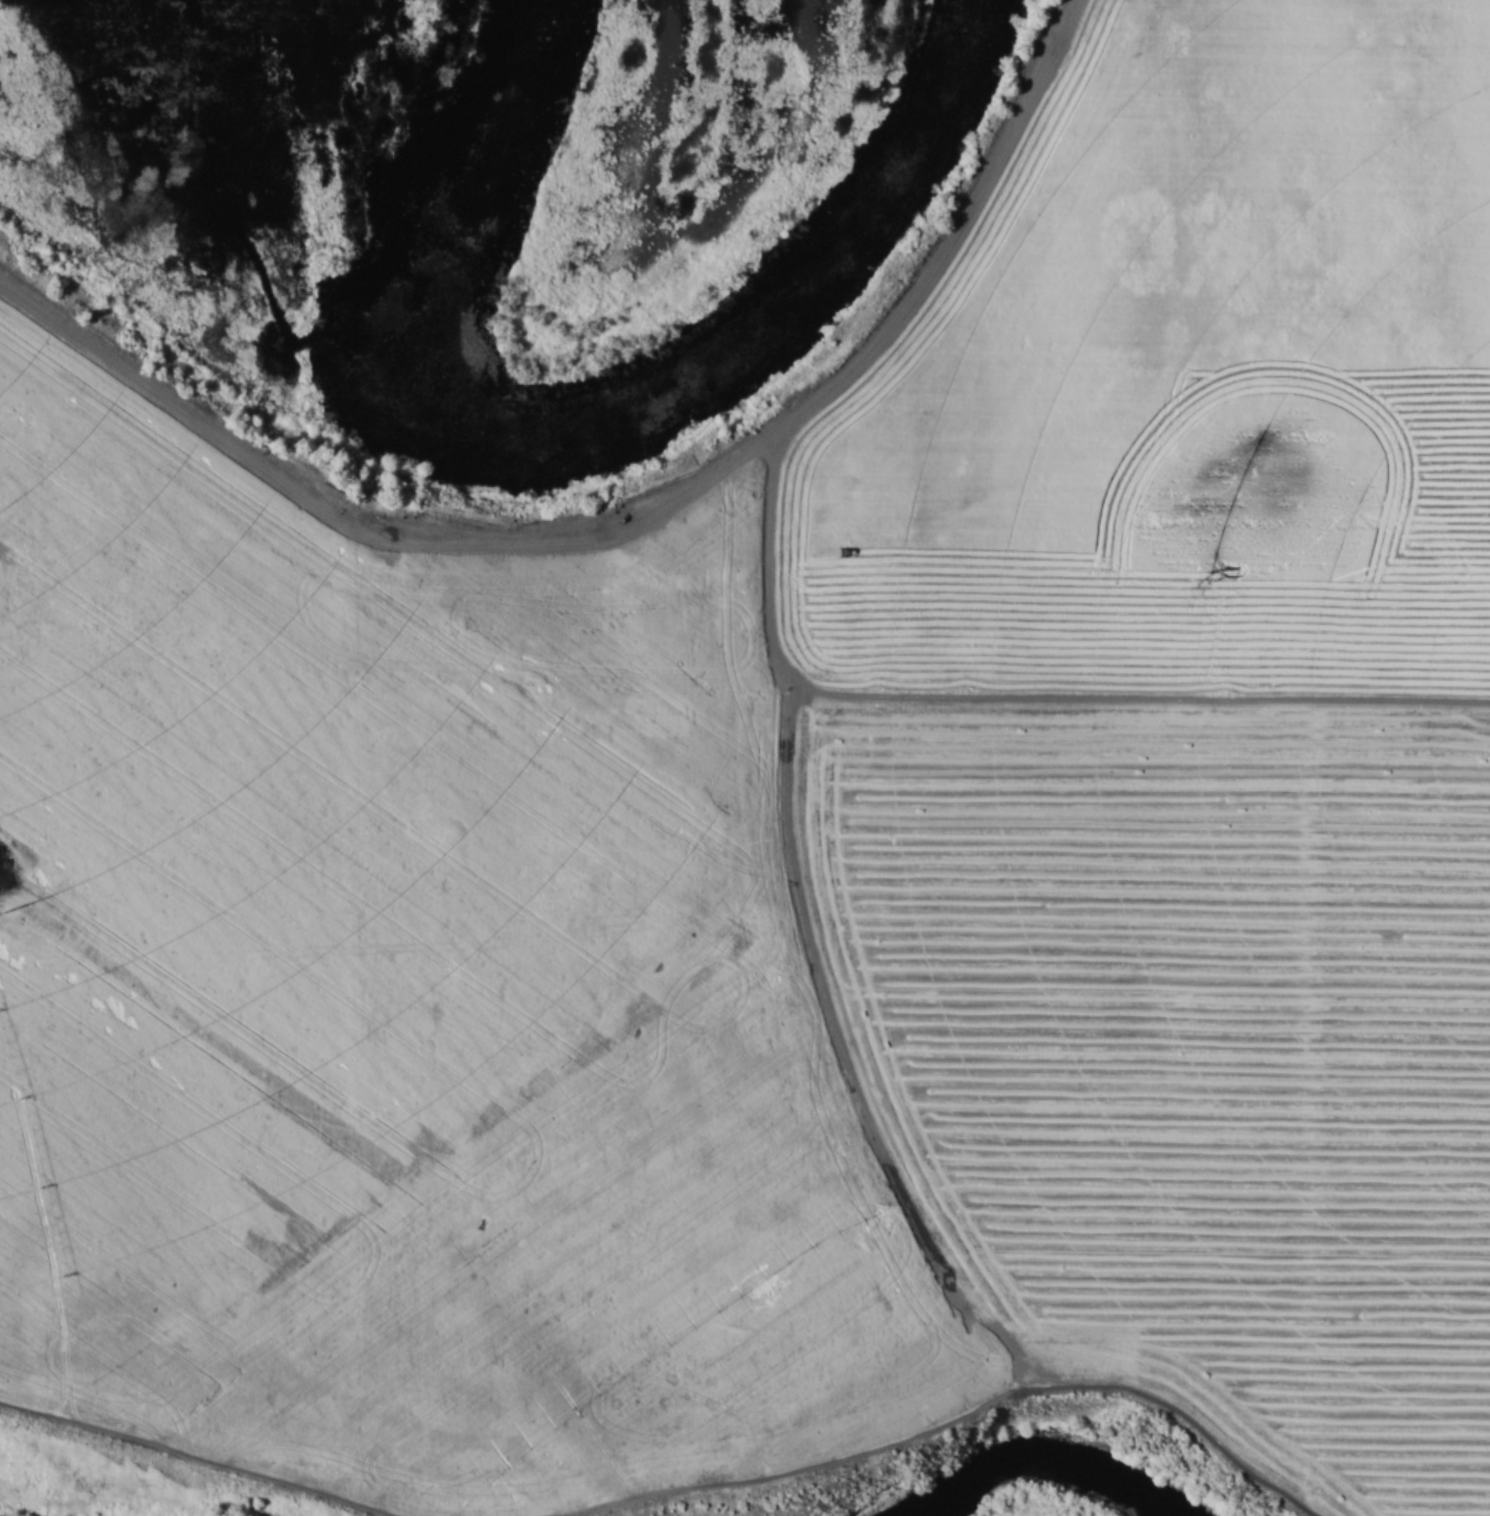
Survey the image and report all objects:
river: (581, 415)
river: (1043, 1464)

